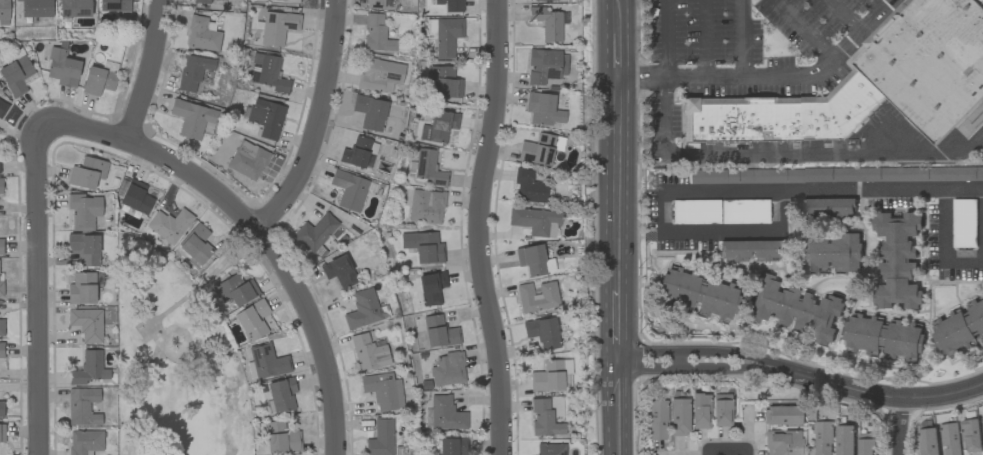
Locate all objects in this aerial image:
building: (287, 0)
building: (543, 0)
building: (202, 1)
building: (374, 3)
building: (449, 4)
road: (884, 4)
building: (116, 7)
building: (35, 8)
building: (74, 8)
building: (3, 12)
road: (614, 17)
road: (843, 18)
building: (548, 22)
building: (277, 26)
road: (807, 30)
building: (376, 33)
building: (201, 34)
building: (444, 35)
road: (741, 38)
road: (666, 39)
road: (705, 39)
road: (615, 56)
building: (545, 65)
building: (61, 67)
road: (145, 71)
building: (192, 71)
building: (267, 72)
building: (17, 75)
building: (379, 75)
road: (772, 76)
building: (97, 80)
building: (443, 81)
building: (869, 86)
building: (2, 107)
building: (542, 109)
building: (369, 112)
building: (191, 117)
building: (264, 117)
road: (317, 122)
building: (438, 126)
building: (537, 150)
building: (359, 153)
road: (790, 154)
building: (247, 160)
building: (426, 167)
building: (86, 173)
building: (836, 175)
road: (617, 185)
building: (0, 186)
building: (528, 186)
building: (348, 189)
road: (821, 192)
building: (135, 197)
building: (425, 206)
building: (823, 208)
building: (83, 211)
building: (695, 211)
building: (744, 211)
building: (535, 220)
building: (169, 225)
road: (255, 227)
road: (476, 227)
road: (718, 227)
building: (314, 232)
building: (195, 244)
building: (1, 245)
building: (423, 246)
road: (941, 247)
building: (84, 248)
building: (748, 249)
building: (830, 253)
building: (530, 259)
building: (896, 260)
building: (338, 271)
building: (0, 286)
building: (431, 287)
building: (81, 288)
building: (235, 289)
road: (36, 291)
building: (696, 294)
building: (537, 296)
building: (794, 308)
building: (362, 309)
building: (252, 320)
road: (618, 321)
building: (86, 323)
building: (1, 326)
building: (959, 329)
building: (439, 332)
building: (542, 332)
building: (884, 337)
building: (1, 350)
road: (687, 352)
building: (367, 353)
park: (174, 357)
road: (675, 360)
building: (267, 361)
building: (88, 368)
road: (687, 368)
building: (447, 369)
building: (566, 372)
building: (547, 376)
building: (382, 390)
road: (867, 393)
building: (281, 394)
road: (620, 403)
building: (82, 406)
building: (1, 408)
building: (721, 409)
building: (699, 410)
building: (445, 413)
building: (782, 415)
building: (678, 416)
building: (543, 419)
building: (656, 419)
road: (902, 428)
building: (1, 432)
building: (971, 436)
building: (280, 438)
building: (380, 438)
building: (823, 438)
building: (950, 439)
building: (845, 440)
building: (84, 441)
building: (782, 442)
building: (929, 442)
building: (867, 444)
building: (452, 446)
building: (550, 449)
road: (725, 450)
road: (745, 452)
road: (706, 453)

